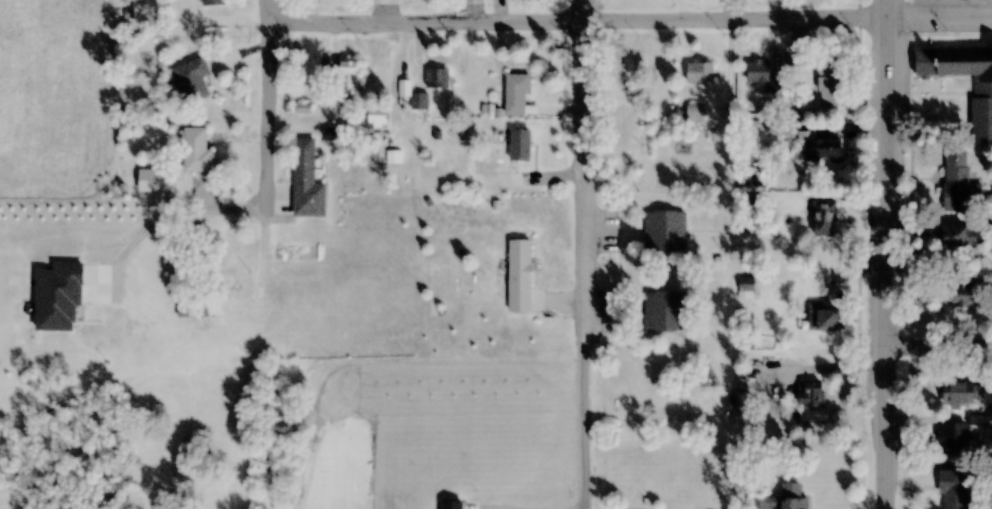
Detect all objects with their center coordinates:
building: (212, 2)
road: (940, 15)
road: (581, 20)
building: (699, 72)
building: (651, 75)
building: (761, 75)
building: (349, 78)
building: (436, 78)
building: (192, 79)
building: (829, 81)
building: (515, 94)
building: (414, 97)
road: (273, 106)
building: (981, 109)
building: (695, 112)
building: (377, 115)
building: (333, 129)
building: (505, 144)
building: (822, 149)
building: (194, 150)
road: (589, 165)
building: (160, 181)
building: (956, 181)
building: (301, 185)
building: (824, 218)
building: (665, 231)
building: (958, 236)
road: (882, 254)
building: (519, 275)
building: (746, 284)
building: (961, 294)
building: (192, 307)
building: (664, 311)
building: (823, 318)
building: (146, 323)
road: (936, 351)
building: (961, 393)
building: (808, 394)
building: (953, 438)
building: (953, 489)
building: (781, 499)

